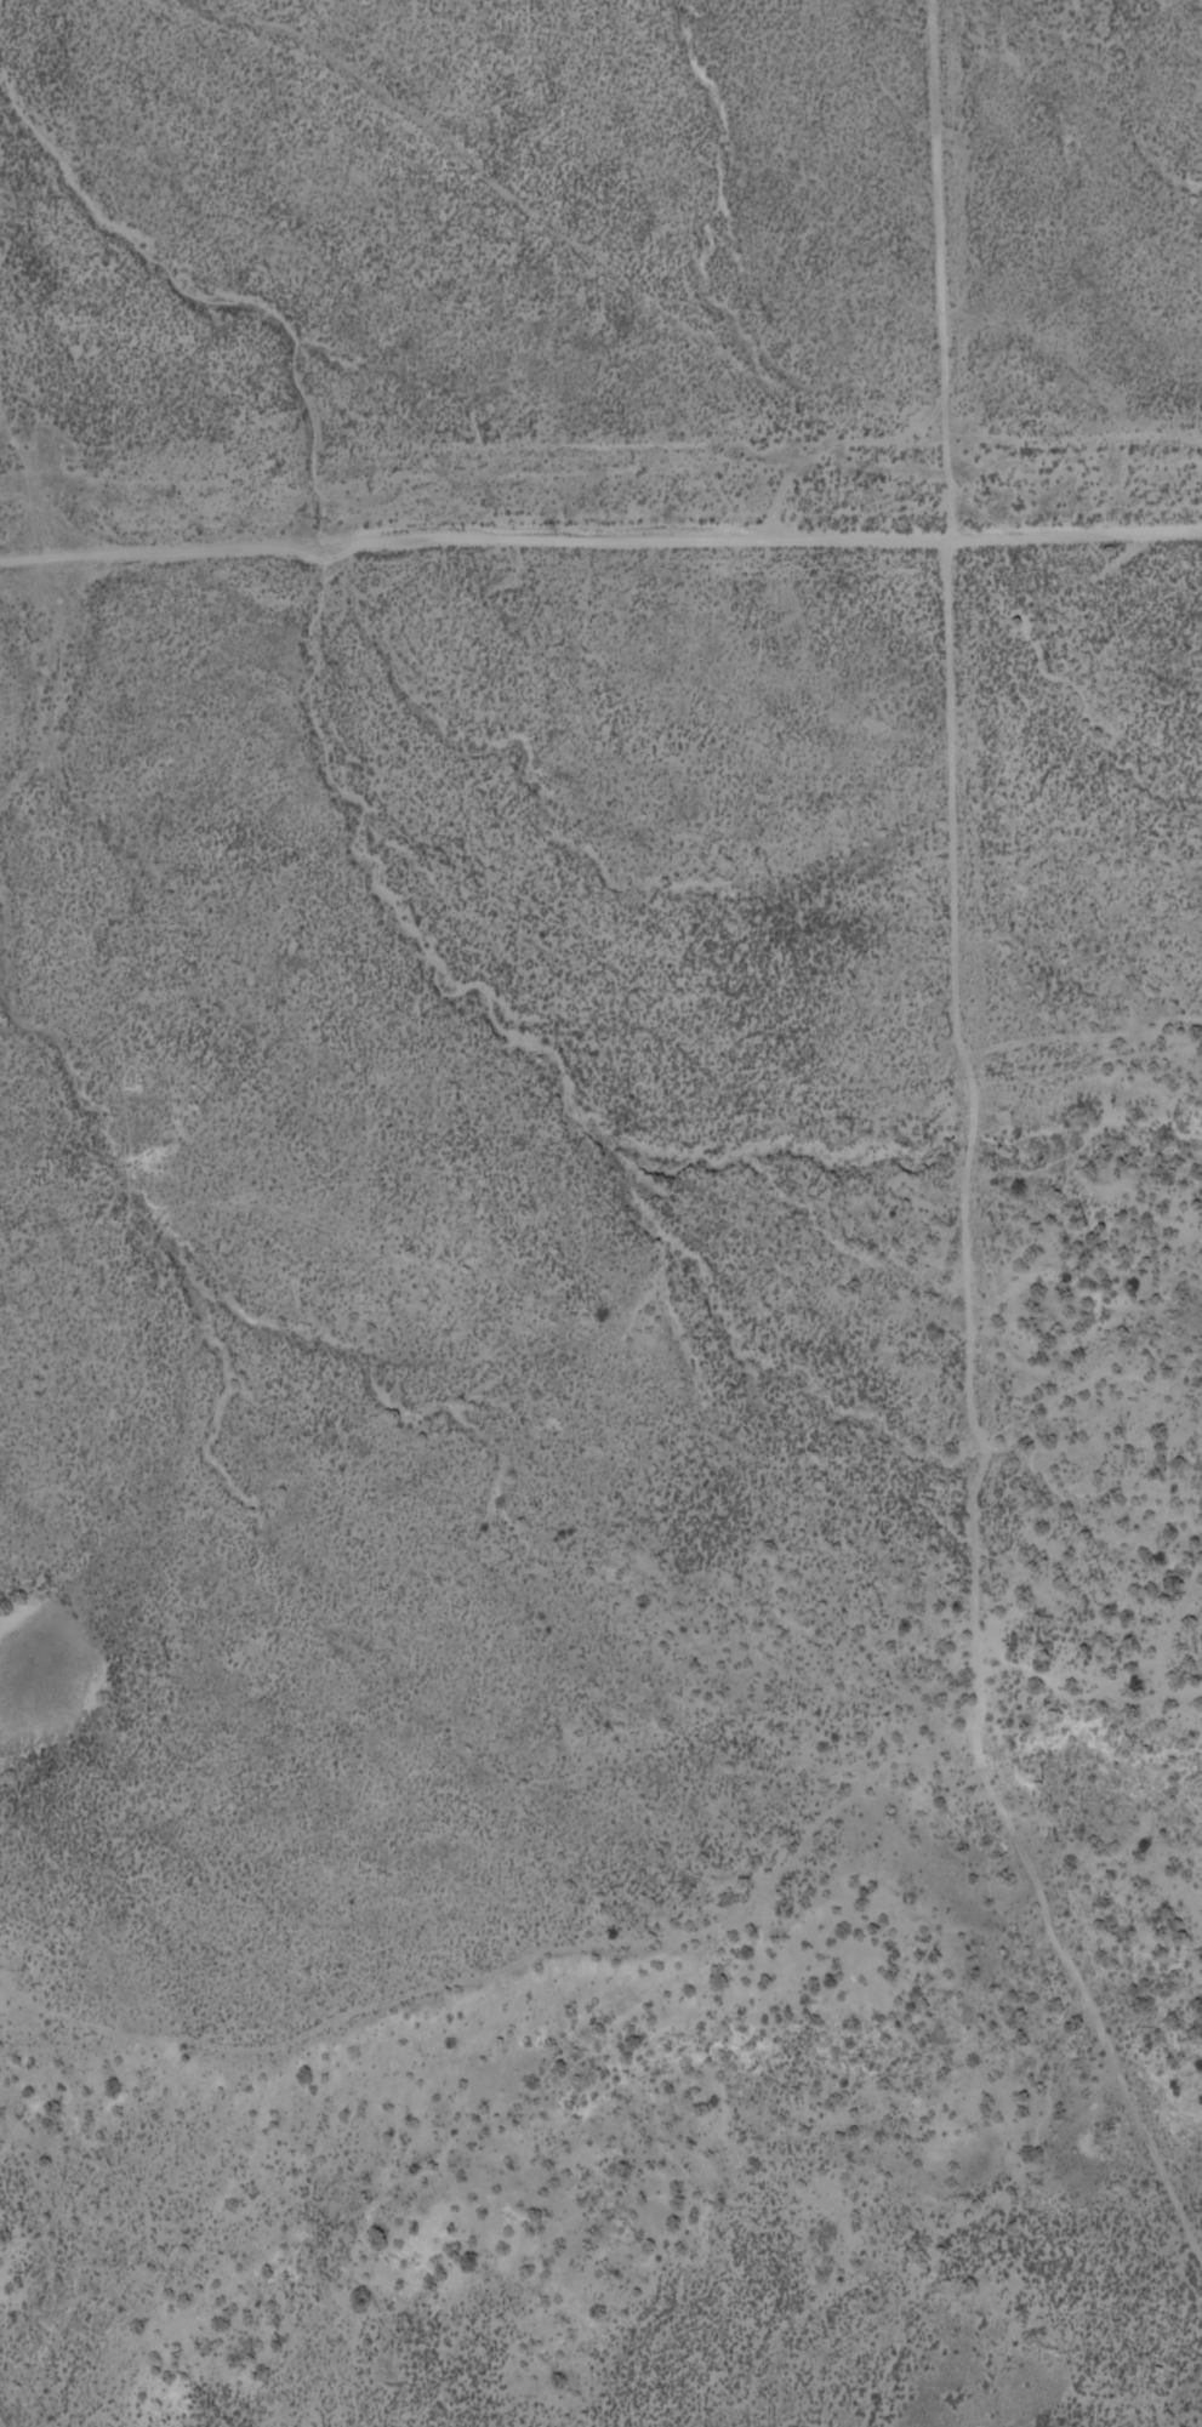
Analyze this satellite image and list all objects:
road: (600, 540)

